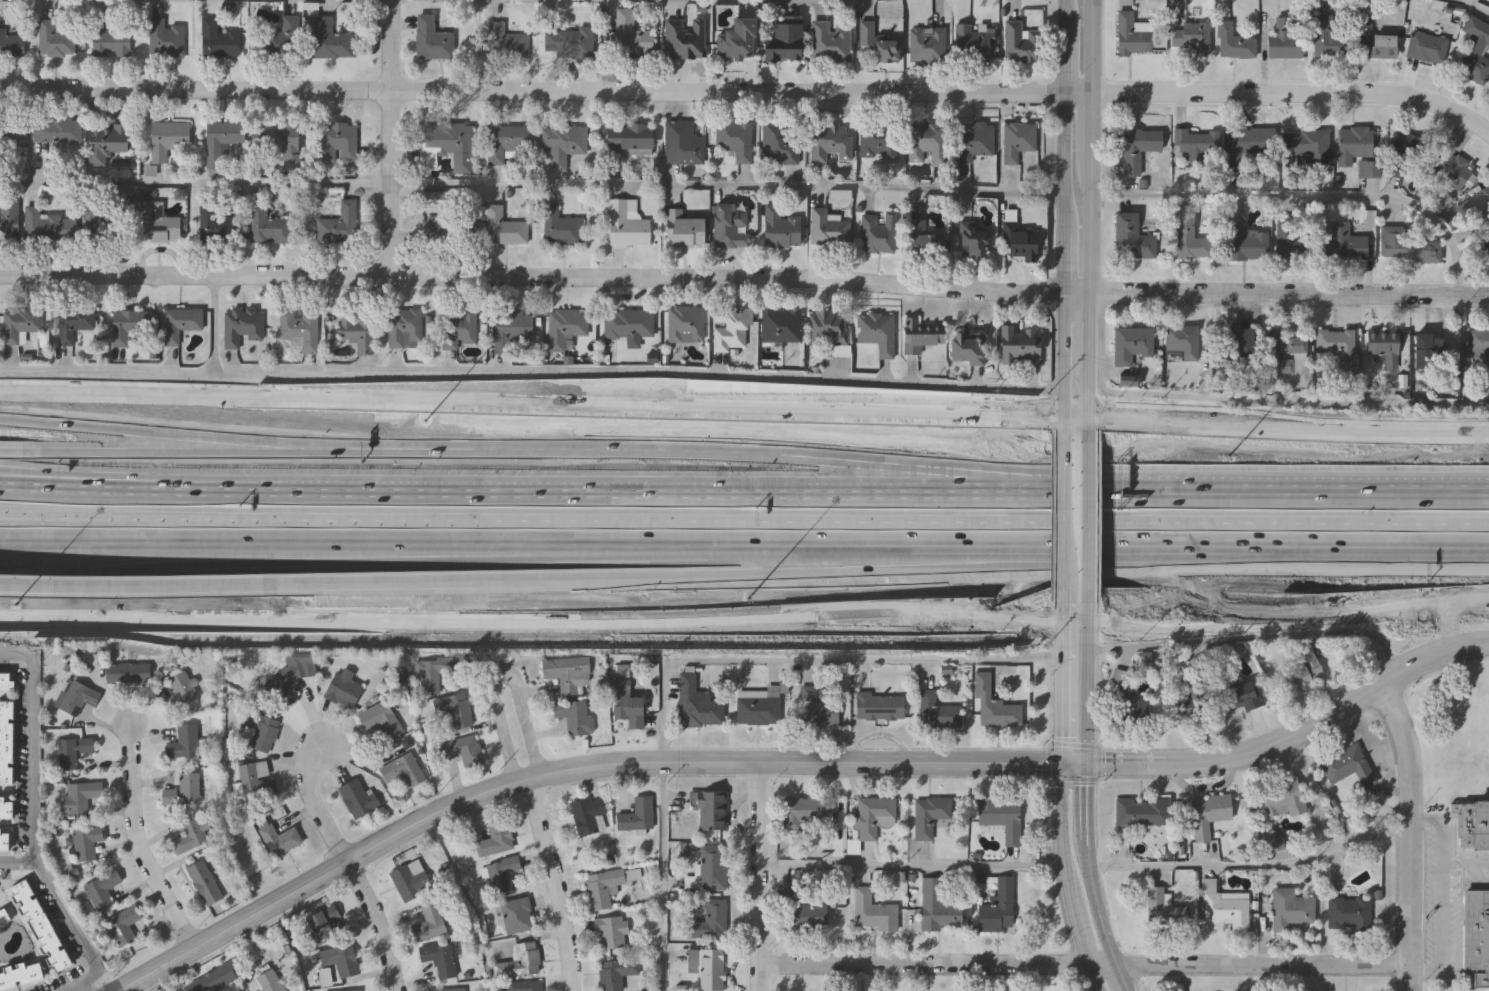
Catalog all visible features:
road: (459, 2)
road: (1467, 6)
building: (1131, 36)
building: (1328, 36)
building: (632, 37)
building: (165, 38)
building: (277, 38)
building: (432, 38)
building: (686, 38)
building: (1191, 38)
building: (54, 40)
building: (218, 40)
building: (332, 40)
building: (738, 40)
building: (783, 40)
building: (575, 41)
building: (1371, 41)
building: (110, 42)
building: (831, 42)
building: (1283, 42)
building: (1022, 43)
building: (1234, 43)
building: (11, 44)
building: (509, 44)
building: (928, 44)
building: (972, 44)
building: (877, 45)
building: (1427, 48)
building: (1474, 52)
road: (748, 93)
building: (57, 131)
building: (12, 136)
road: (388, 139)
building: (448, 139)
building: (629, 139)
building: (735, 139)
building: (167, 140)
building: (1019, 140)
building: (221, 141)
building: (283, 141)
building: (506, 141)
building: (973, 141)
building: (337, 142)
building: (831, 142)
building: (927, 142)
building: (104, 143)
building: (563, 143)
building: (780, 143)
building: (879, 143)
building: (1195, 143)
building: (683, 144)
building: (1354, 145)
building: (1308, 146)
building: (1136, 147)
building: (1247, 147)
building: (1408, 154)
building: (1369, 170)
building: (1453, 171)
road: (534, 186)
road: (1069, 194)
building: (434, 199)
road: (1307, 199)
building: (1480, 207)
building: (97, 217)
building: (9, 218)
building: (213, 222)
building: (157, 223)
building: (341, 224)
building: (49, 225)
building: (624, 225)
road: (1091, 225)
building: (267, 226)
building: (560, 226)
building: (729, 226)
building: (504, 227)
building: (780, 228)
building: (684, 229)
building: (829, 229)
building: (878, 232)
building: (450, 233)
building: (1132, 238)
building: (923, 239)
building: (1191, 239)
building: (973, 241)
building: (1020, 241)
building: (1290, 241)
building: (1394, 242)
building: (1247, 243)
building: (1346, 243)
building: (1486, 249)
building: (1427, 252)
road: (744, 280)
building: (22, 323)
building: (180, 323)
building: (629, 323)
building: (75, 324)
building: (130, 324)
building: (685, 324)
building: (242, 325)
building: (782, 325)
building: (566, 326)
building: (731, 327)
building: (300, 328)
building: (405, 328)
building: (458, 328)
building: (511, 328)
building: (831, 329)
building: (356, 332)
building: (878, 332)
building: (920, 335)
building: (1183, 342)
building: (1237, 344)
building: (1020, 345)
building: (1131, 345)
building: (1479, 345)
building: (1434, 346)
building: (1384, 347)
building: (968, 348)
building: (1335, 349)
building: (1286, 353)
road: (108, 368)
road: (592, 370)
road: (1289, 403)
road: (546, 407)
road: (1064, 419)
road: (1290, 430)
road: (155, 433)
road: (10, 451)
road: (166, 452)
road: (642, 453)
road: (47, 476)
road: (47, 482)
road: (532, 487)
road: (1229, 488)
road: (1093, 498)
road: (21, 515)
road: (21, 518)
road: (1065, 522)
road: (765, 523)
road: (599, 544)
road: (1344, 548)
road: (494, 552)
road: (223, 564)
road: (1093, 570)
road: (772, 572)
road: (302, 586)
road: (186, 588)
road: (57, 589)
road: (1066, 605)
road: (1092, 605)
road: (1290, 606)
road: (533, 615)
road: (1079, 616)
road: (1046, 656)
building: (1302, 672)
building: (128, 675)
building: (566, 675)
building: (429, 678)
road: (505, 679)
building: (287, 680)
building: (5, 685)
building: (343, 691)
road: (1064, 693)
building: (179, 694)
road: (1089, 694)
building: (1241, 696)
building: (78, 700)
building: (1125, 703)
building: (1193, 705)
building: (697, 706)
building: (995, 707)
building: (627, 709)
building: (880, 709)
building: (454, 712)
building: (759, 712)
building: (818, 712)
building: (938, 713)
building: (573, 719)
building: (380, 722)
building: (259, 734)
building: (186, 744)
building: (5, 746)
building: (463, 753)
building: (70, 754)
road: (793, 765)
building: (1348, 766)
traffic signals: (1063, 771)
traffic signals: (1087, 772)
building: (402, 776)
building: (259, 792)
building: (185, 793)
building: (81, 799)
building: (1283, 799)
building: (357, 800)
road: (315, 803)
building: (710, 811)
building: (4, 812)
building: (1143, 812)
building: (805, 814)
building: (1209, 814)
road: (34, 817)
building: (930, 817)
building: (588, 818)
building: (638, 818)
building: (874, 818)
building: (1002, 819)
road: (1088, 821)
road: (663, 826)
building: (1474, 829)
building: (191, 837)
road: (1412, 837)
building: (495, 842)
building: (280, 843)
building: (4, 844)
building: (86, 847)
road: (138, 847)
road: (17, 861)
road: (911, 868)
building: (712, 870)
road: (1065, 870)
road: (1255, 870)
road: (756, 877)
building: (500, 878)
road: (556, 884)
building: (204, 885)
building: (409, 885)
building: (603, 892)
building: (101, 893)
road: (1443, 896)
building: (1004, 904)
building: (1164, 909)
building: (1291, 909)
building: (939, 910)
building: (1227, 910)
building: (874, 914)
building: (1350, 915)
building: (516, 918)
road: (1101, 918)
building: (2, 920)
building: (813, 921)
road: (379, 924)
building: (428, 925)
building: (709, 926)
building: (40, 927)
building: (325, 927)
building: (122, 928)
building: (611, 935)
building: (1476, 940)
building: (340, 962)
building: (438, 962)
building: (519, 964)
road: (925, 965)
road: (1105, 966)
road: (1262, 966)
building: (710, 971)
building: (616, 974)
building: (19, 977)
building: (219, 978)
road: (1100, 978)
road: (1119, 978)
building: (269, 982)
road: (77, 984)
building: (523, 987)

